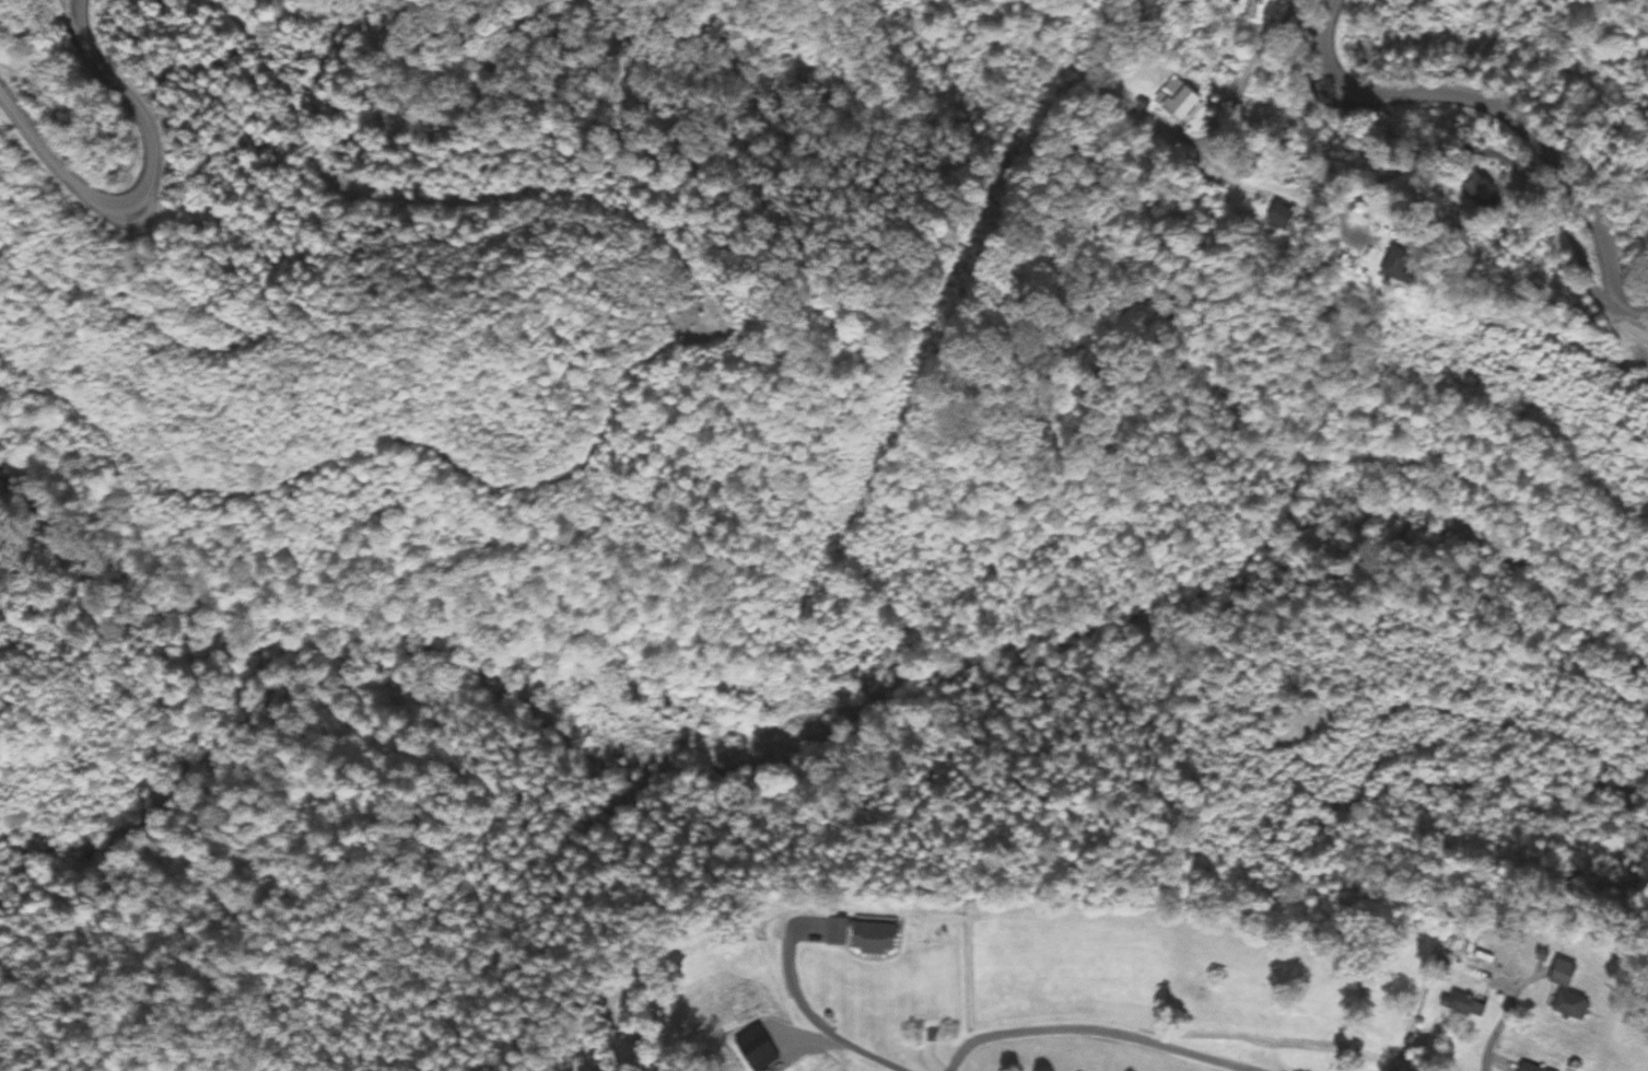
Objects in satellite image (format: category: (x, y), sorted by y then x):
building: (1250, 10)
road: (1261, 56)
building: (1178, 103)
road: (1503, 113)
road: (1498, 164)
building: (1477, 191)
building: (1279, 218)
building: (1389, 267)
road: (1302, 538)
building: (858, 935)
building: (1559, 974)
crop: (1090, 991)
building: (1460, 1003)
building: (1567, 1005)
road: (806, 1014)
road: (1504, 1020)
road: (1091, 1033)
crop: (838, 1066)
building: (1527, 1067)

